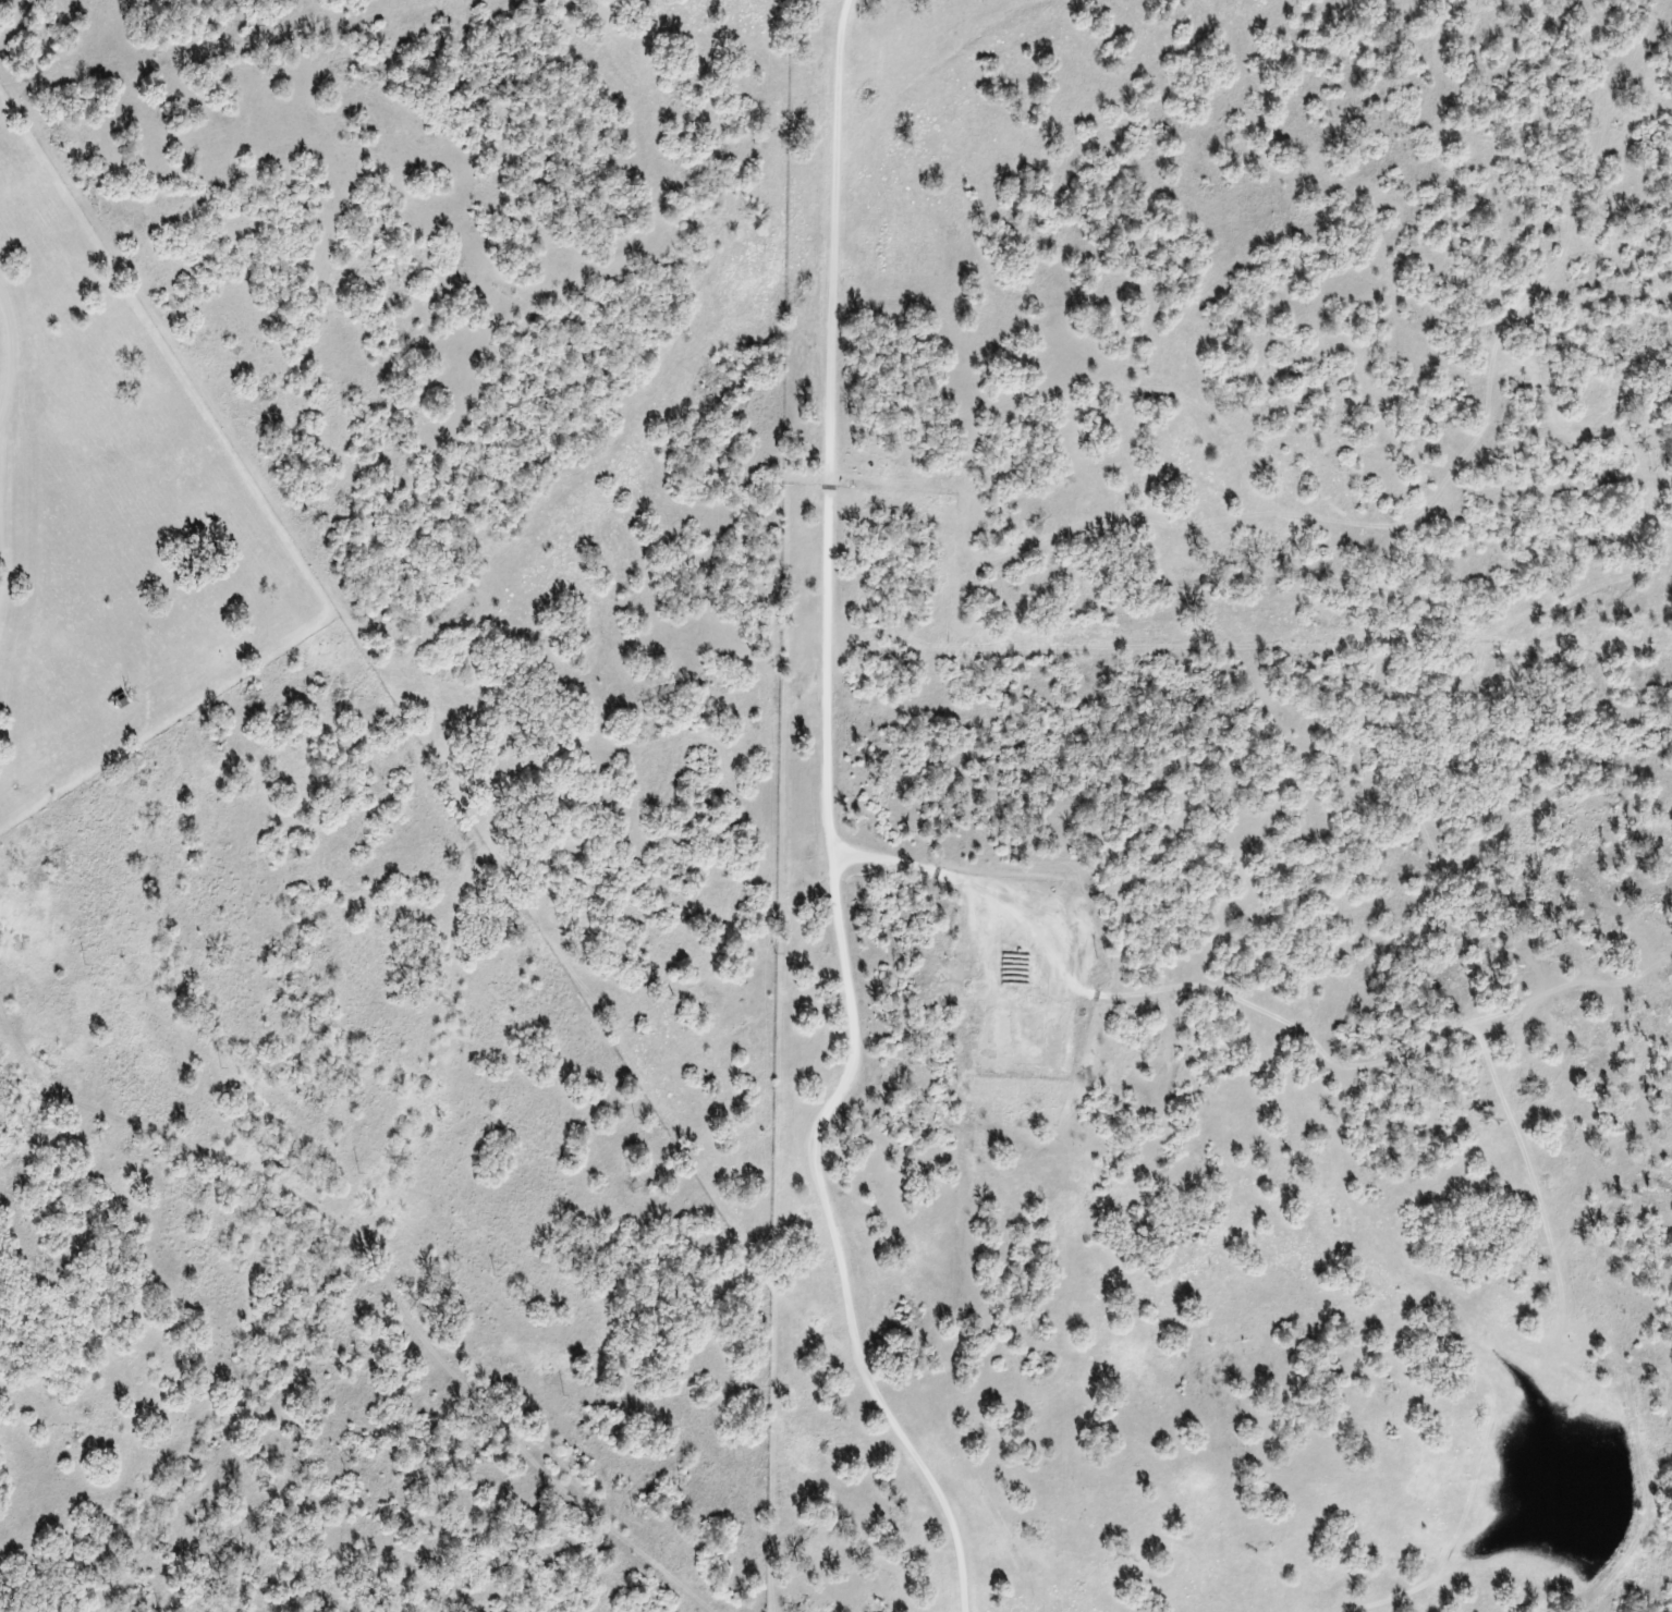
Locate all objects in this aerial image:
road: (4, 460)
road: (415, 1254)

